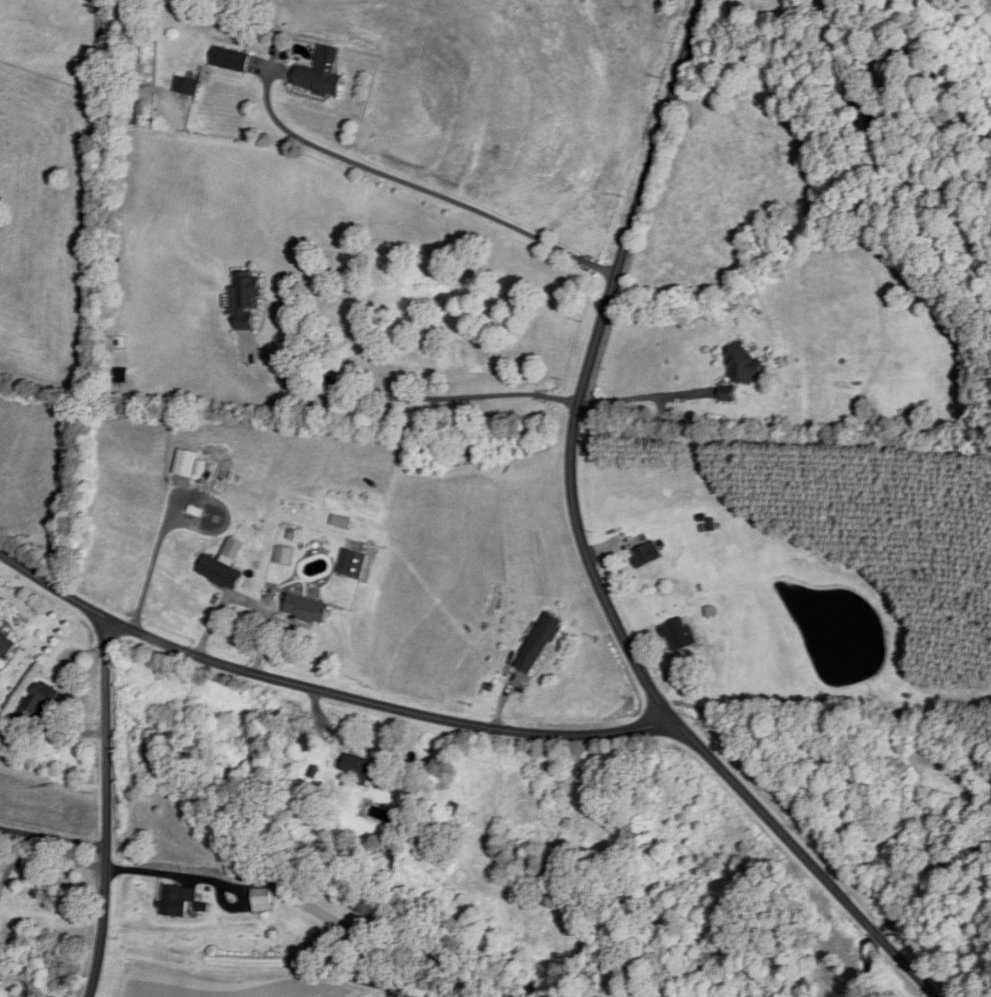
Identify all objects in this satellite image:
road: (835, 30)
building: (232, 58)
building: (320, 78)
building: (187, 84)
road: (420, 185)
building: (743, 365)
building: (727, 393)
road: (643, 397)
road: (405, 412)
road: (587, 550)
building: (645, 554)
building: (286, 555)
building: (354, 562)
building: (223, 572)
road: (247, 600)
building: (309, 608)
building: (678, 634)
building: (538, 642)
building: (6, 646)
road: (325, 691)
building: (44, 697)
building: (304, 739)
building: (362, 768)
road: (107, 808)
road: (53, 836)
road: (44, 858)
building: (265, 898)
building: (179, 900)
road: (978, 986)

